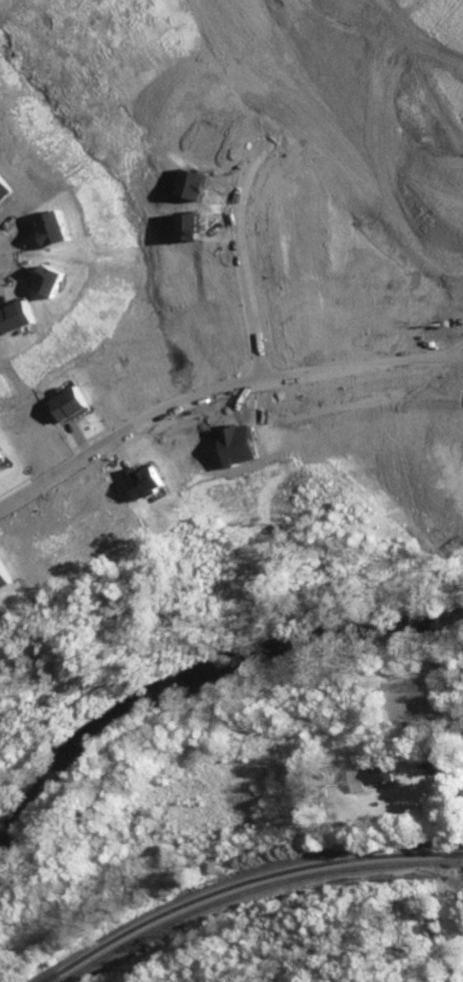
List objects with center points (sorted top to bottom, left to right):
road: (242, 256)
road: (199, 400)
building: (66, 401)
building: (0, 461)
road: (69, 462)
building: (145, 481)
building: (3, 578)
road: (446, 715)
road: (442, 755)
building: (378, 774)
railway: (246, 884)
railway: (255, 891)

